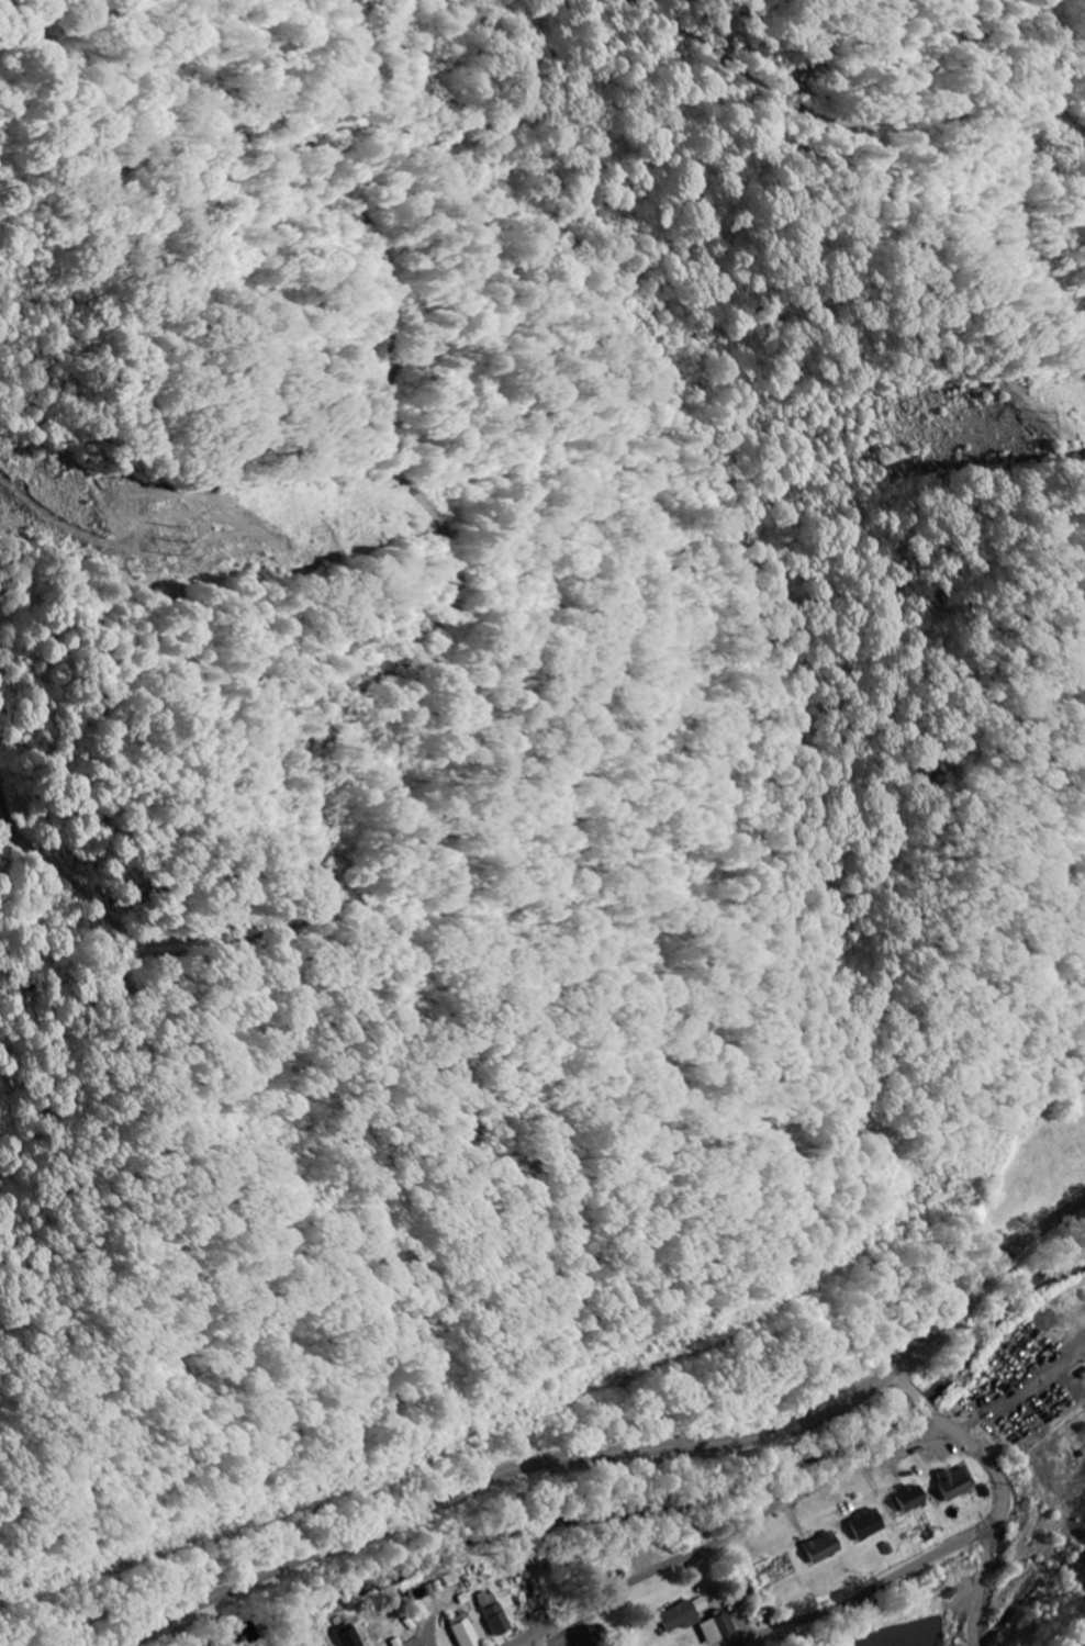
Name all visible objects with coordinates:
road: (616, 1451)
road: (1043, 1480)
building: (955, 1482)
building: (910, 1498)
building: (866, 1524)
road: (732, 1534)
building: (823, 1547)
road: (957, 1548)
building: (603, 1553)
building: (701, 1604)
building: (494, 1613)
building: (681, 1617)
building: (718, 1628)
building: (471, 1633)
building: (349, 1636)
road: (425, 1642)

